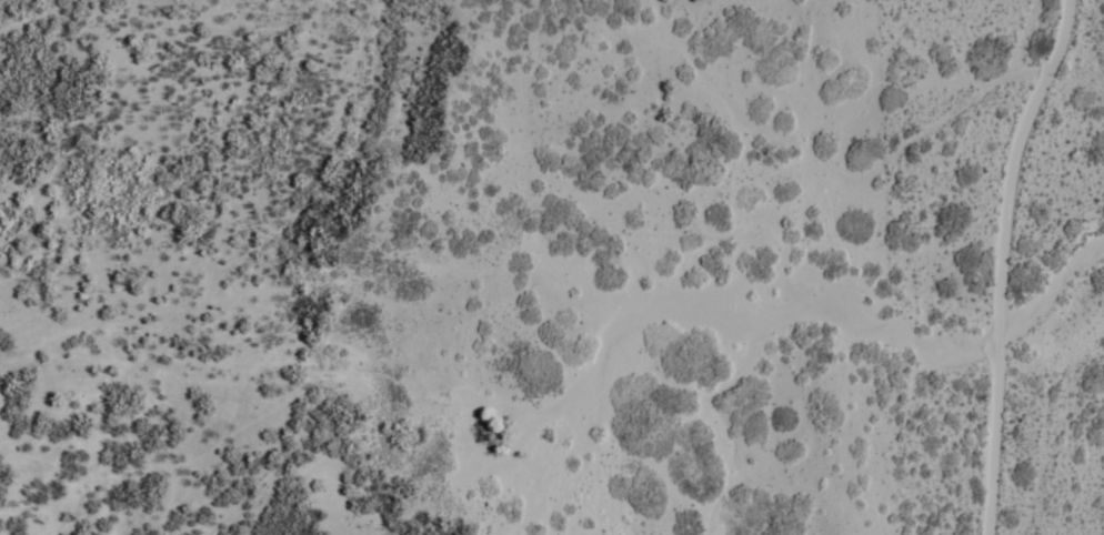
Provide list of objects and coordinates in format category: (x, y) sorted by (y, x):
road: (941, 266)

